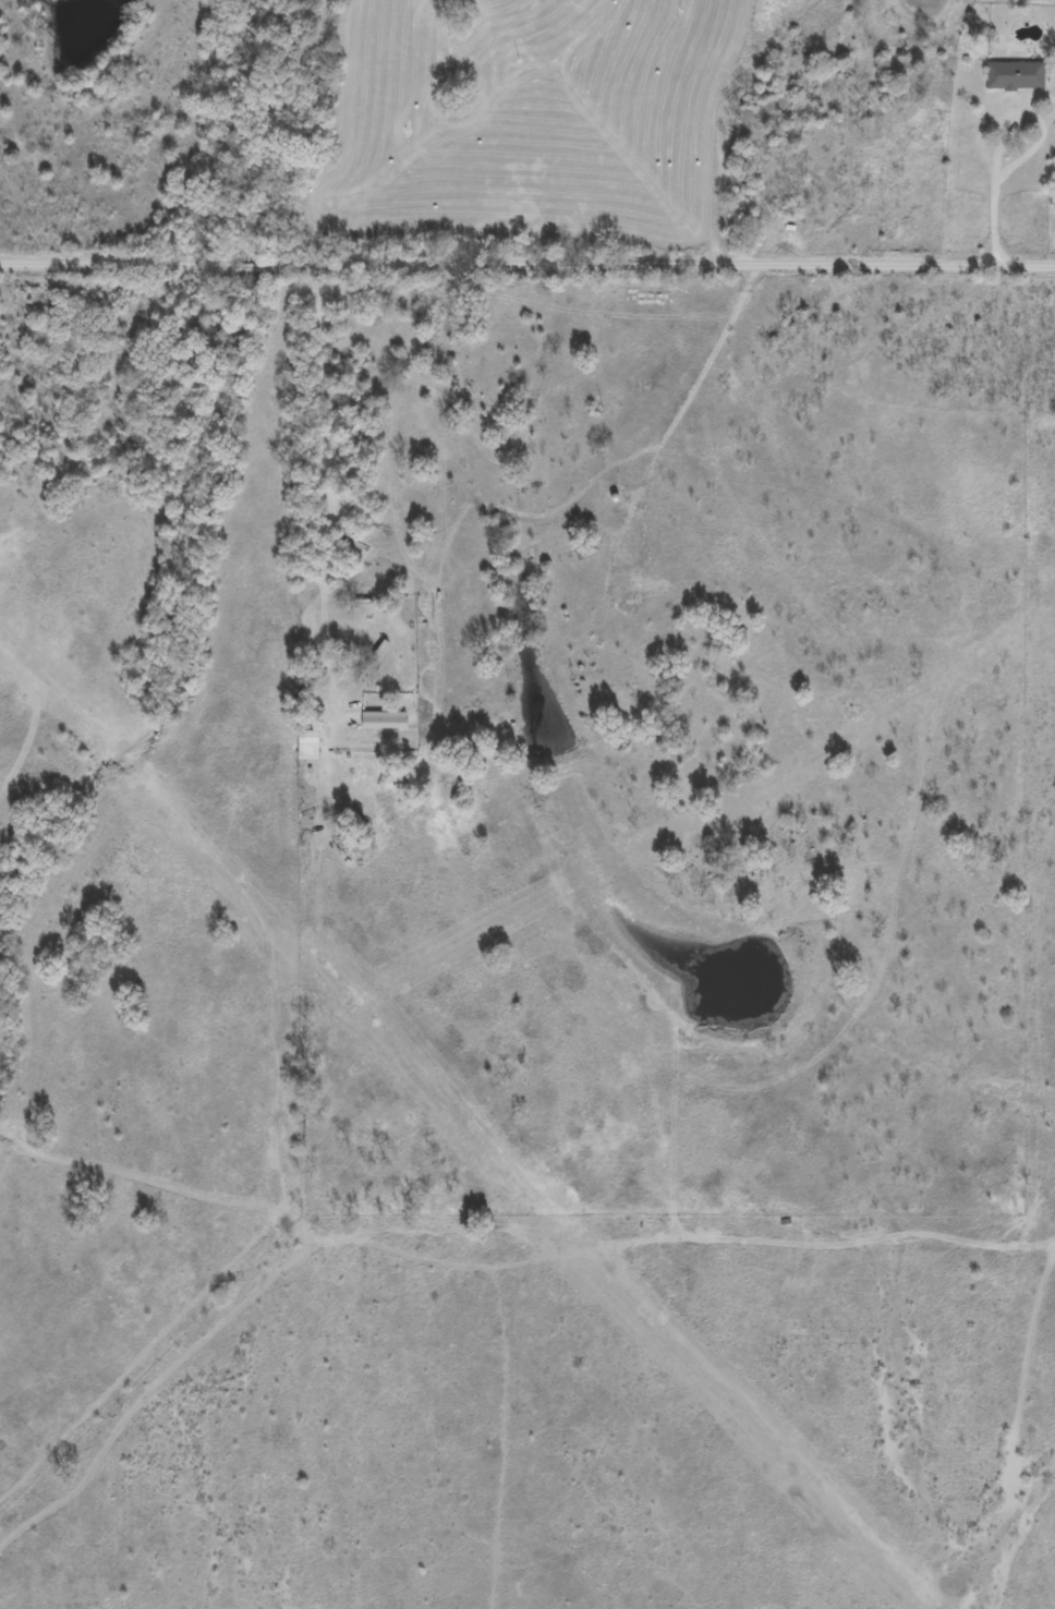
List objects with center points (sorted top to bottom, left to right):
building: (1012, 75)
road: (994, 165)
road: (527, 259)
road: (323, 396)
road: (650, 1205)

